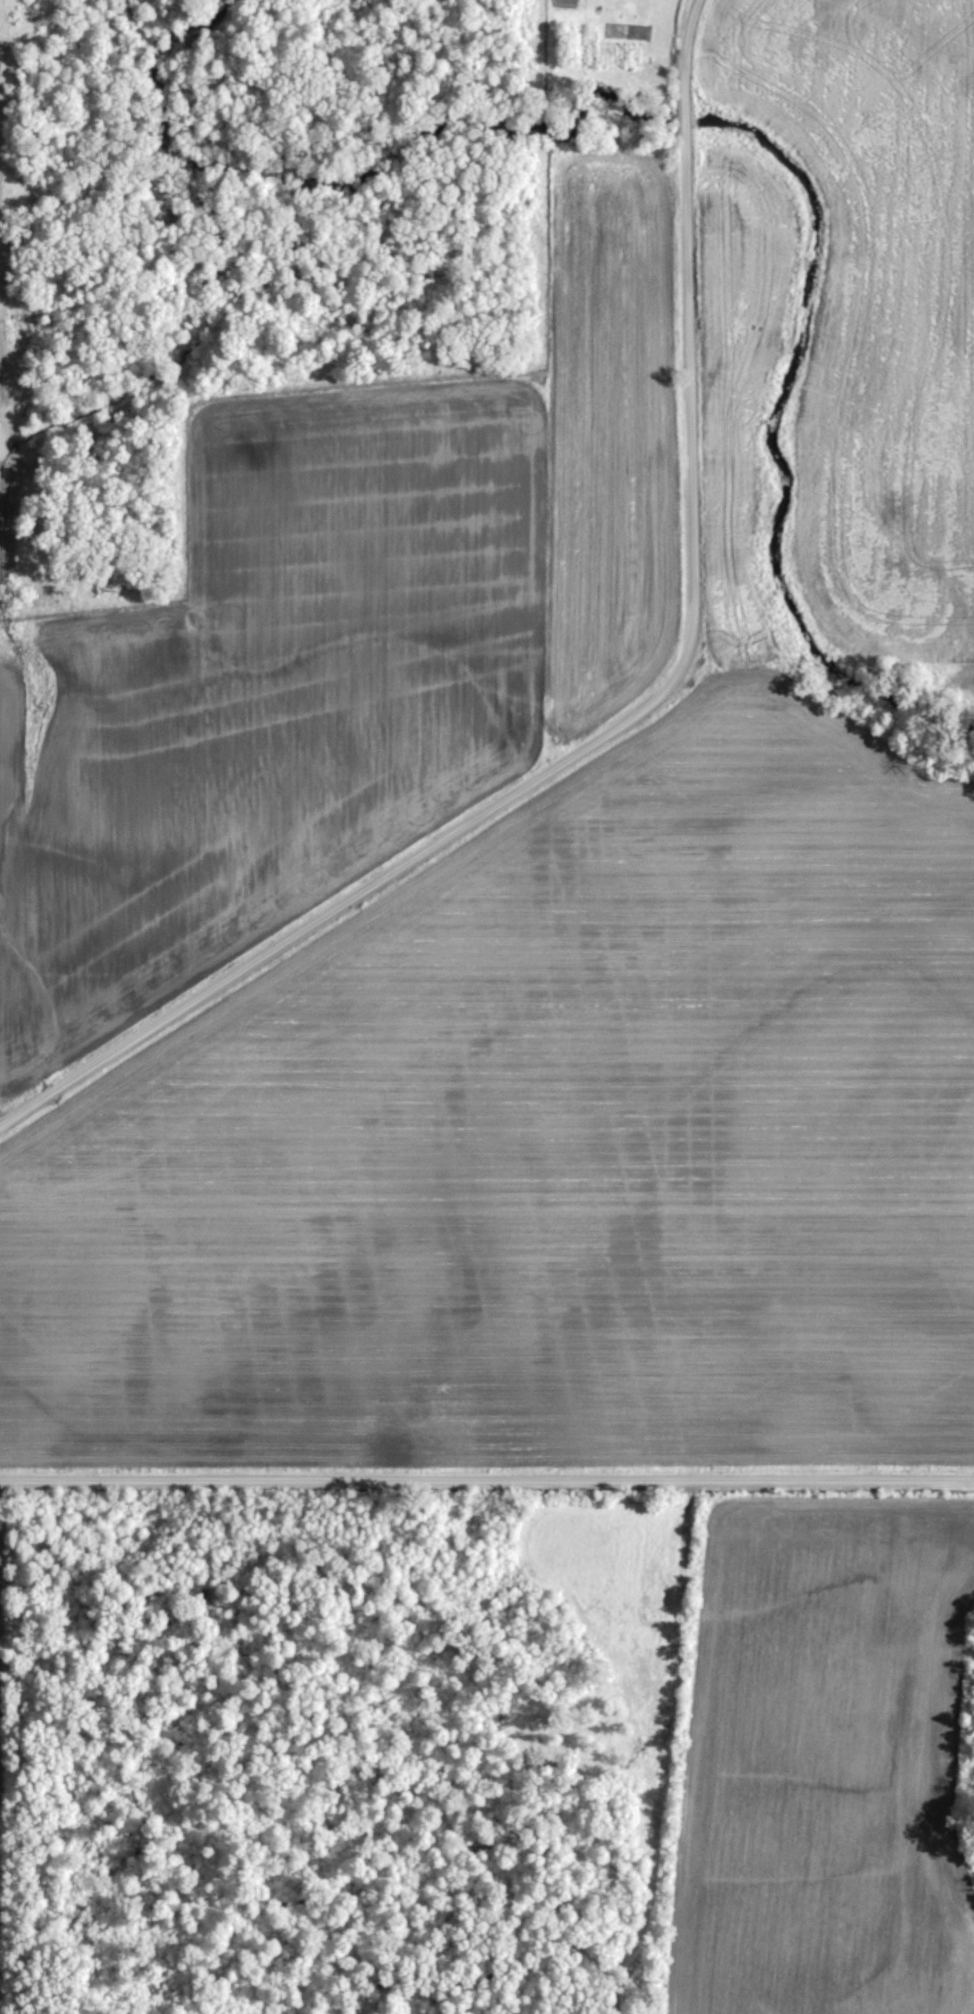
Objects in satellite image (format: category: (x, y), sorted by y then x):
road: (628, 714)
road: (487, 1467)

